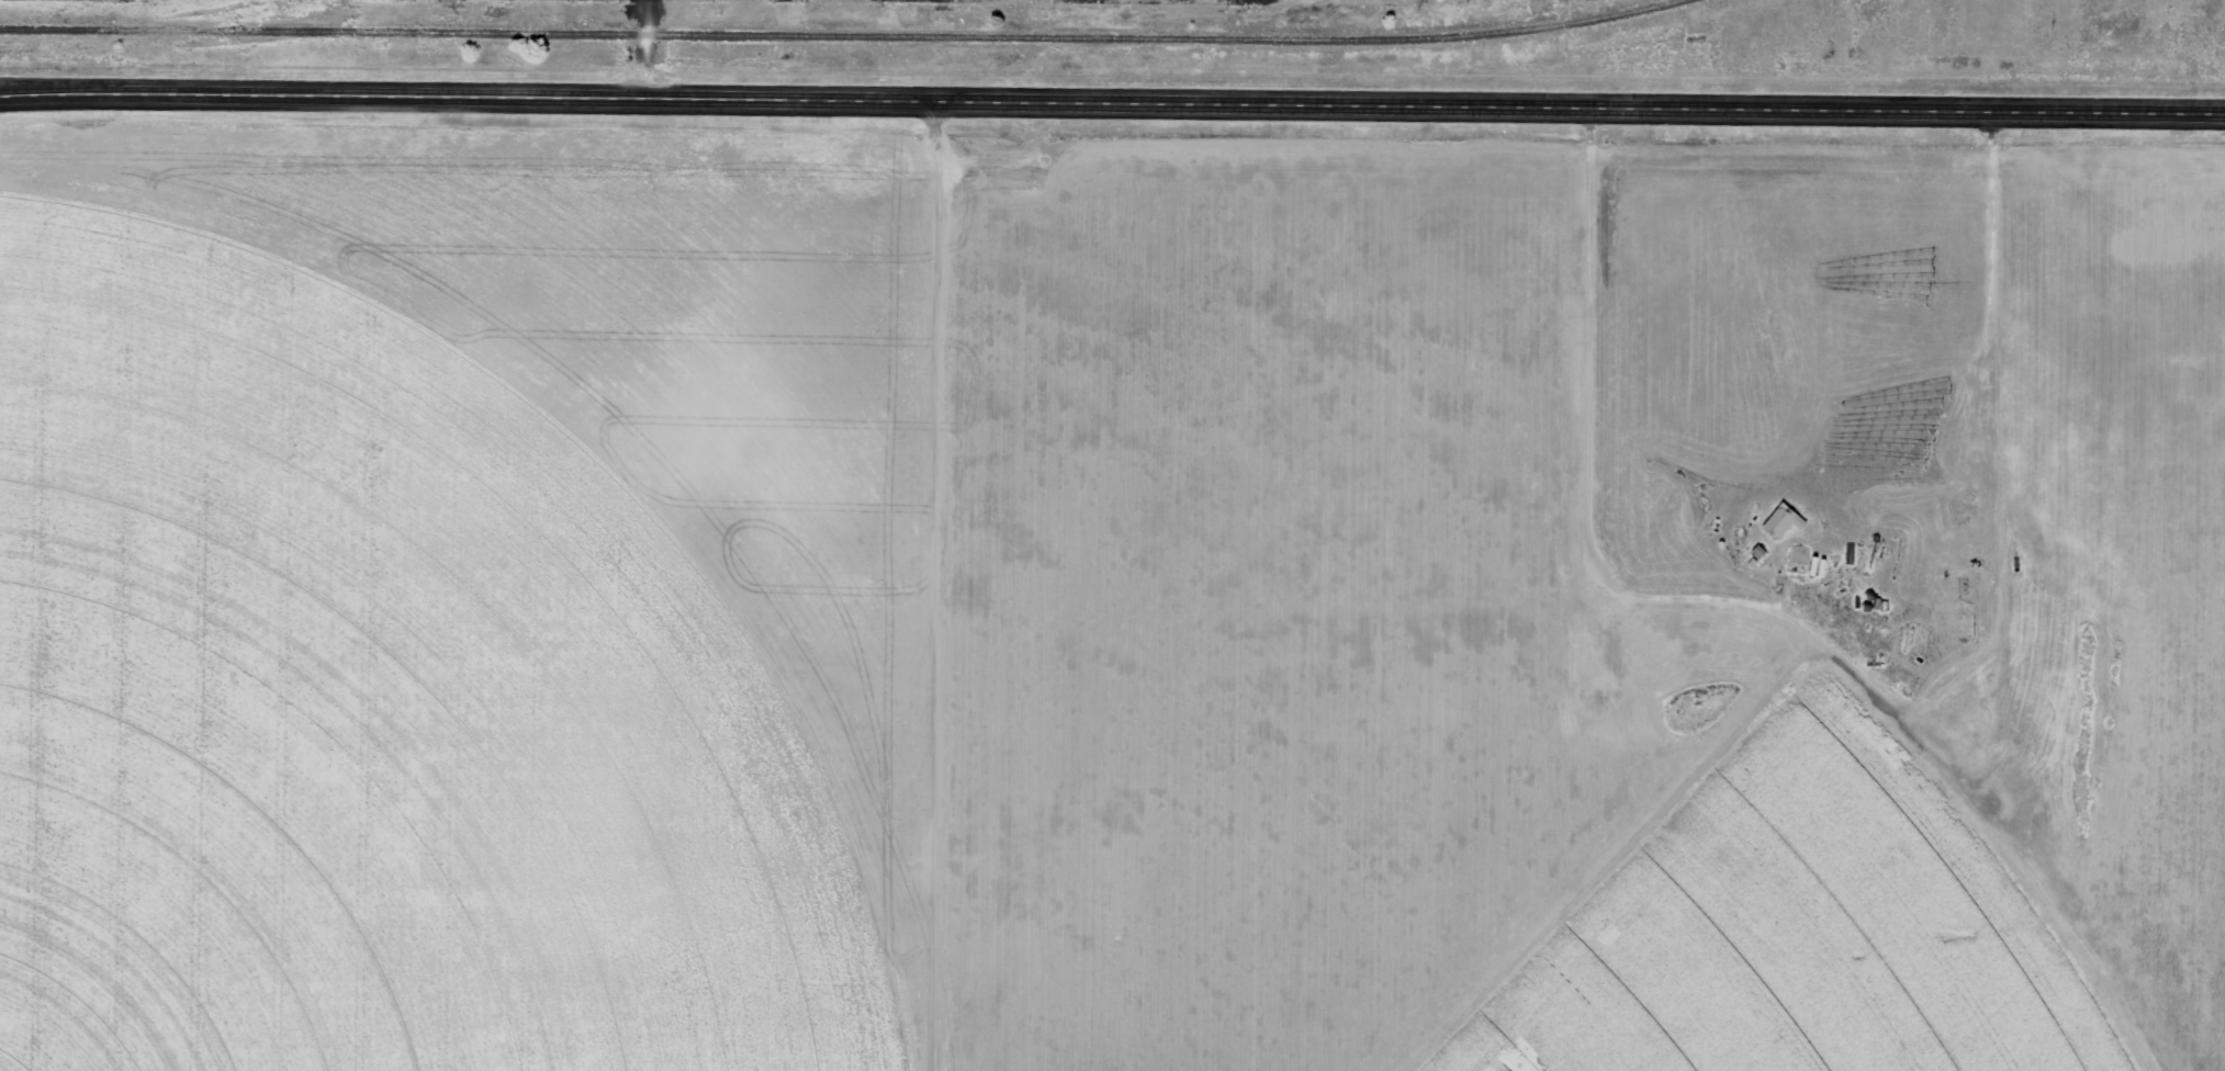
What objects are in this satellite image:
railway: (184, 30)
railway: (1022, 37)
road: (645, 49)
road: (19, 90)
road: (1112, 100)
road: (1966, 292)
building: (1785, 521)

